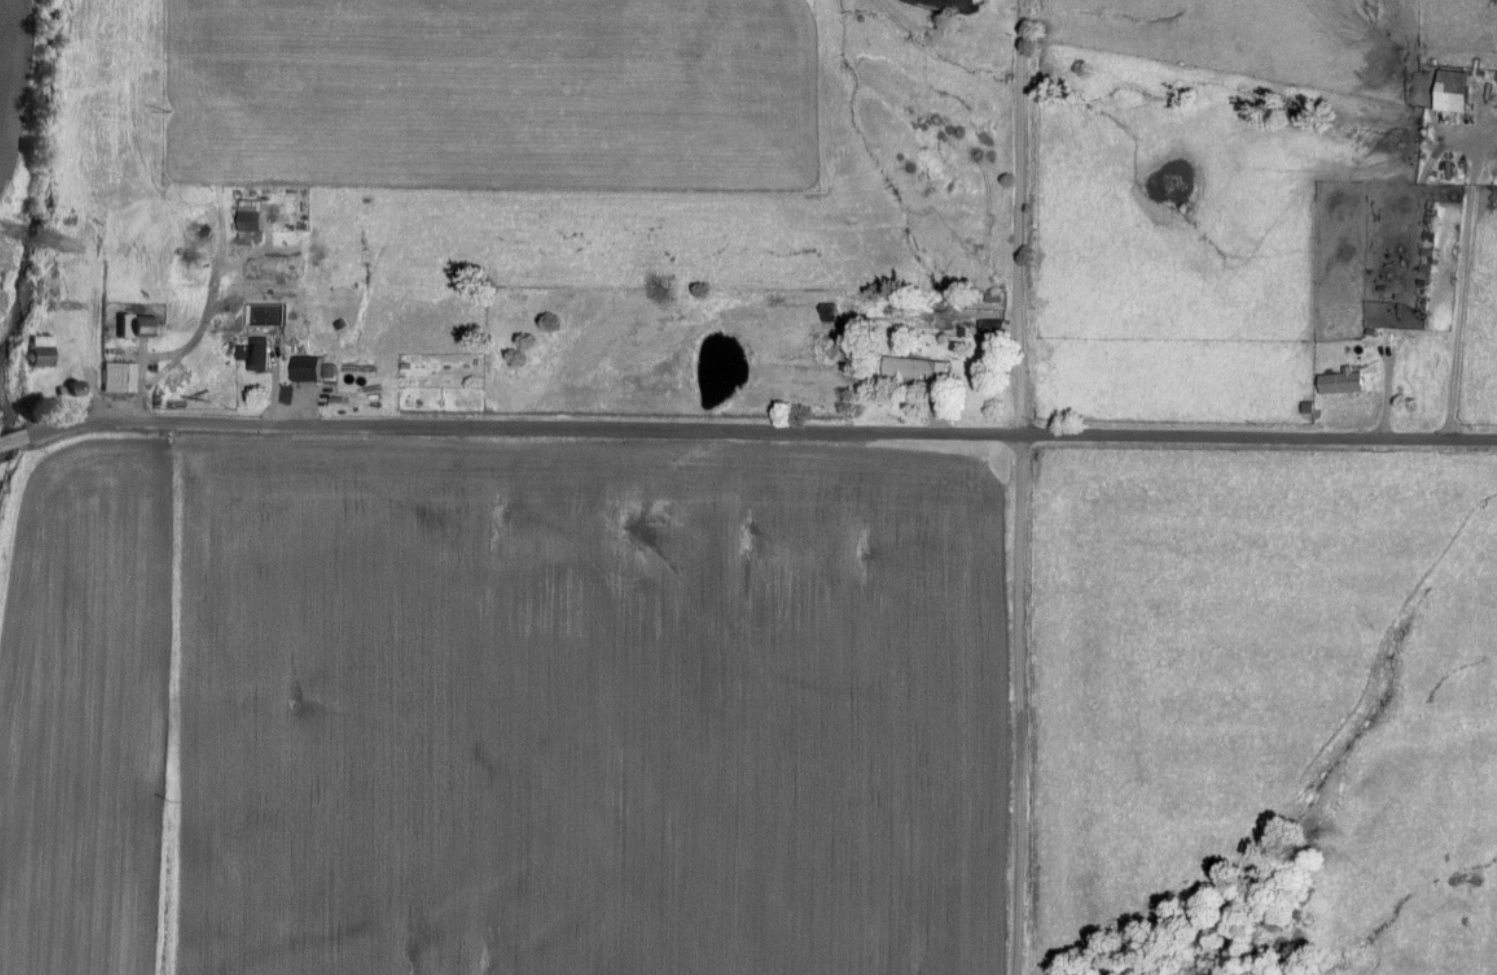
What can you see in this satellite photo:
building: (1449, 89)
building: (256, 214)
building: (996, 327)
building: (43, 348)
building: (258, 352)
building: (316, 368)
building: (922, 368)
building: (120, 376)
building: (1340, 381)
road: (747, 427)
road: (1015, 487)

